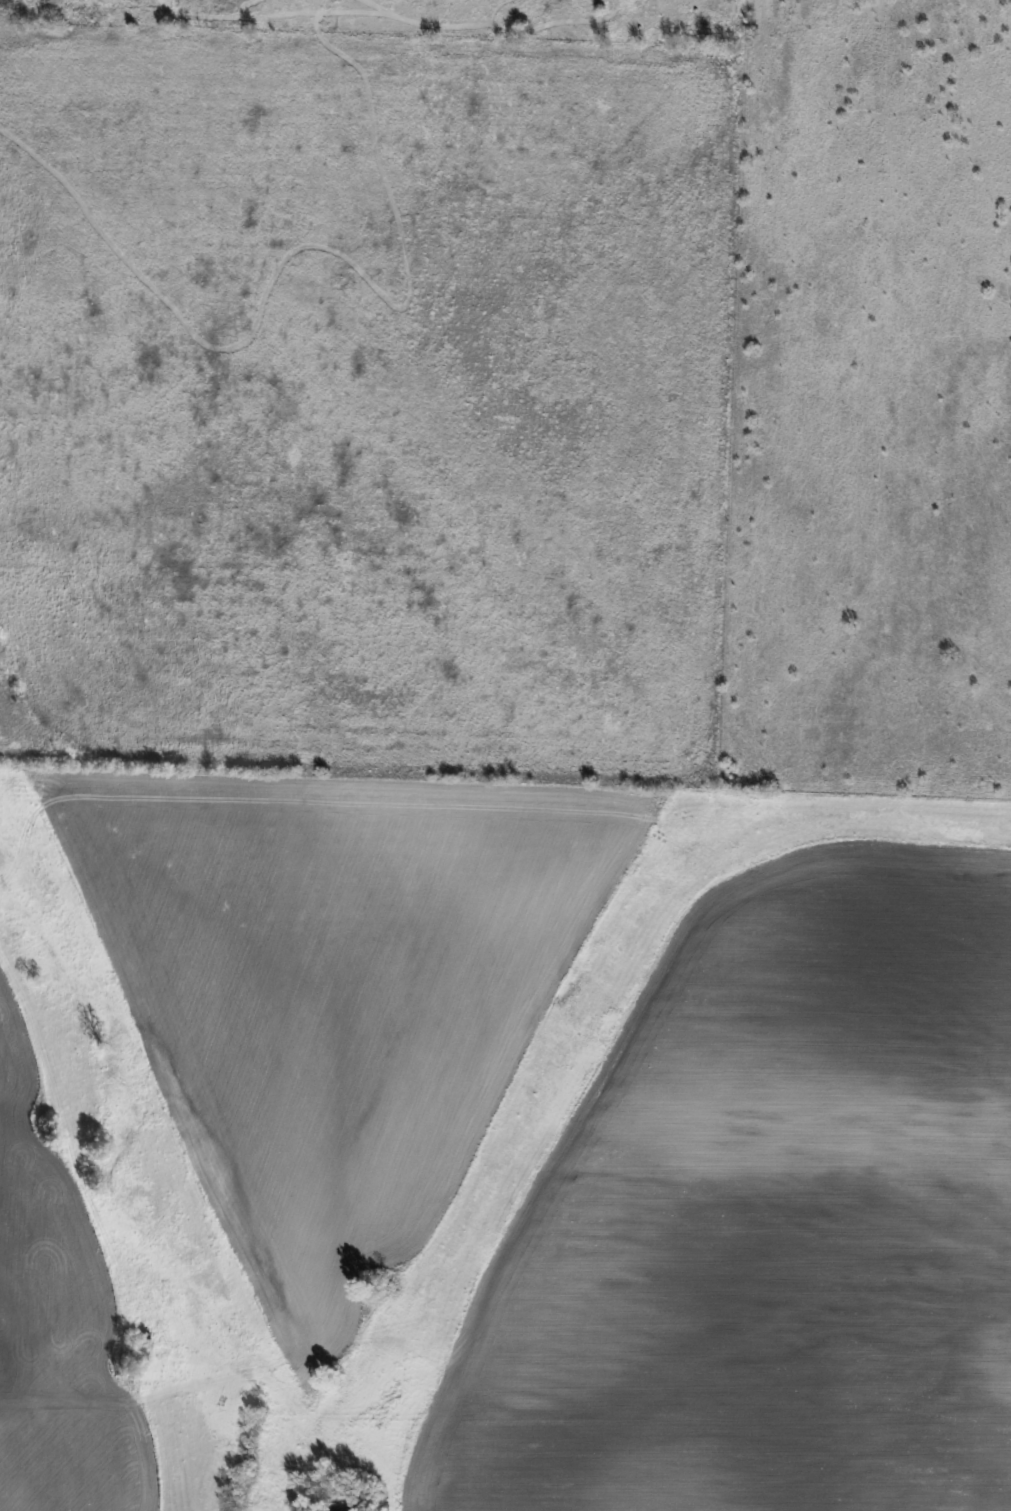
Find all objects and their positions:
building: (28, 1)

